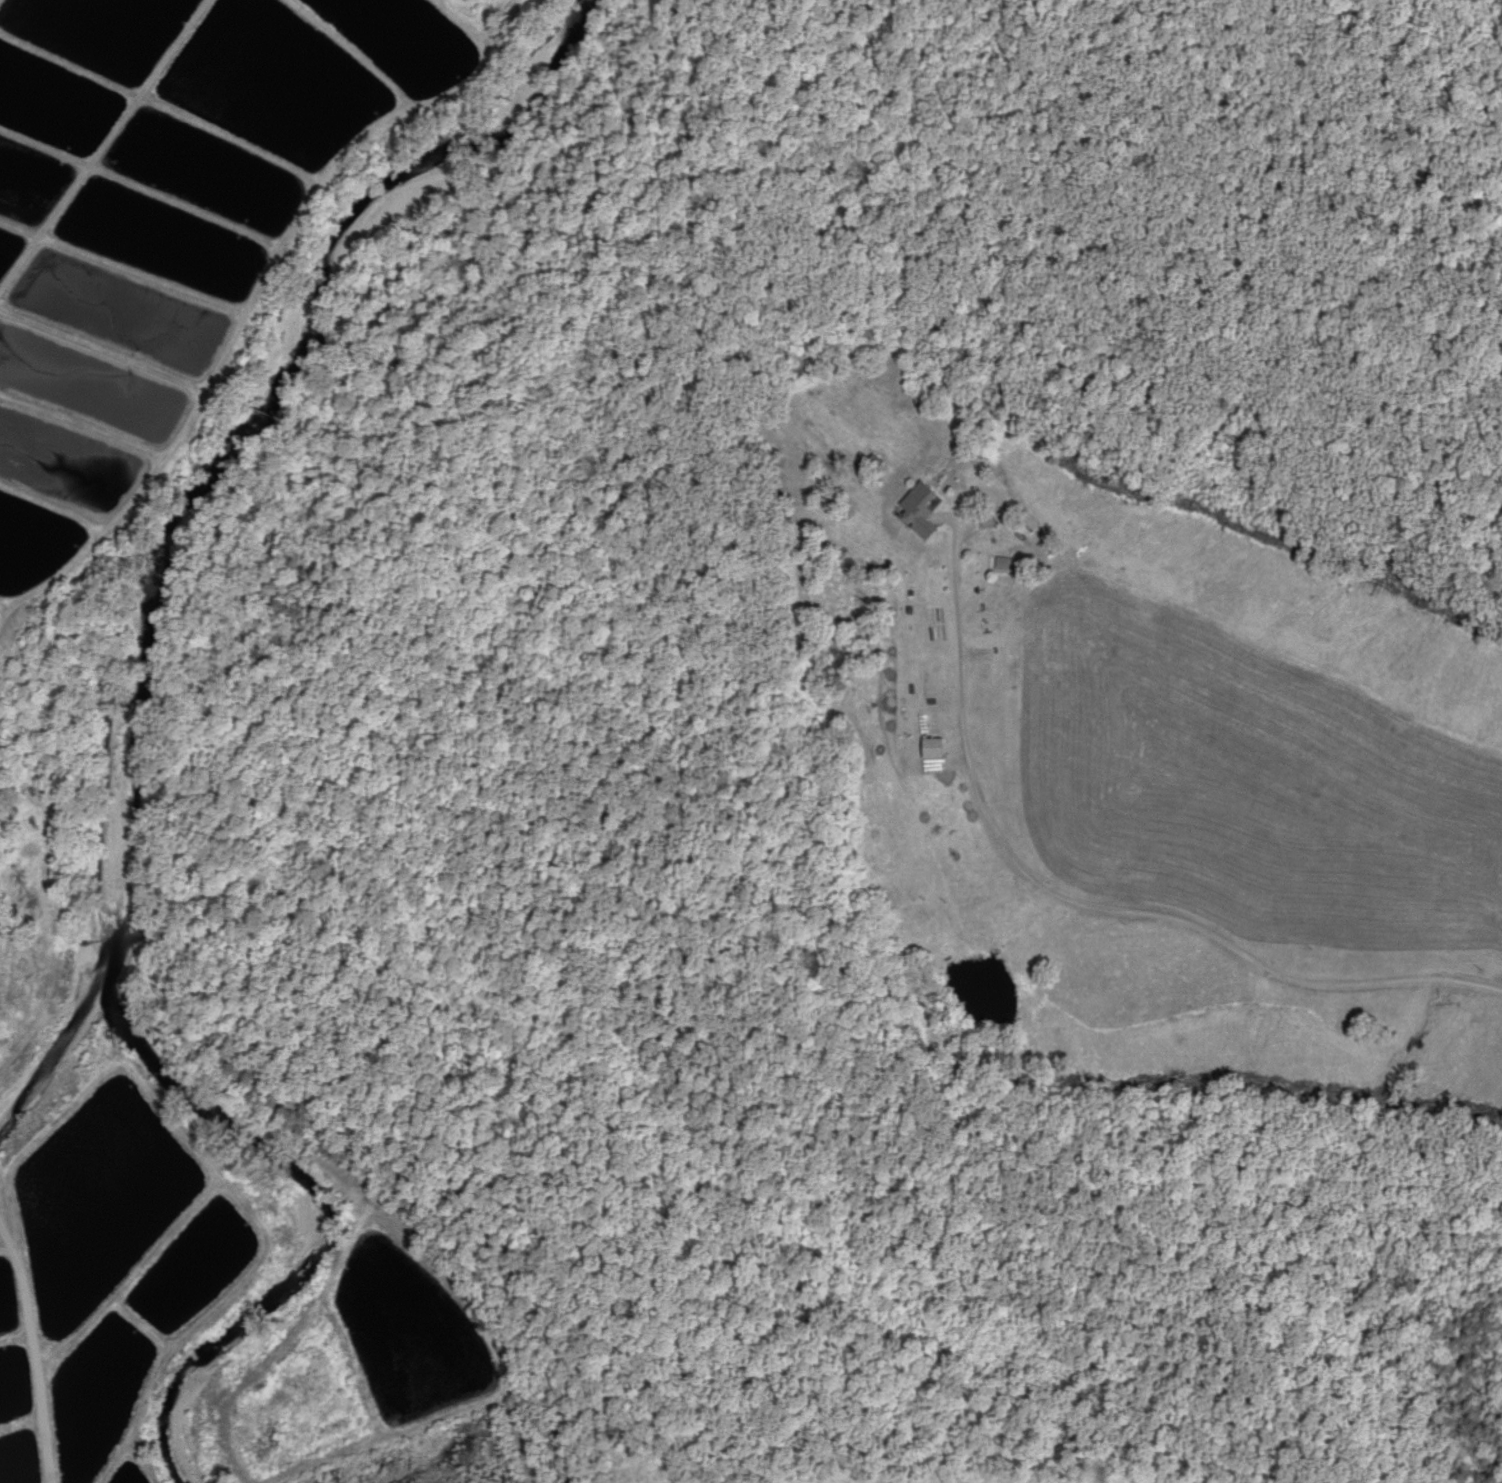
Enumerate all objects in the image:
building: (921, 510)
building: (988, 520)
building: (933, 749)
road: (1085, 906)
road: (31, 1361)

